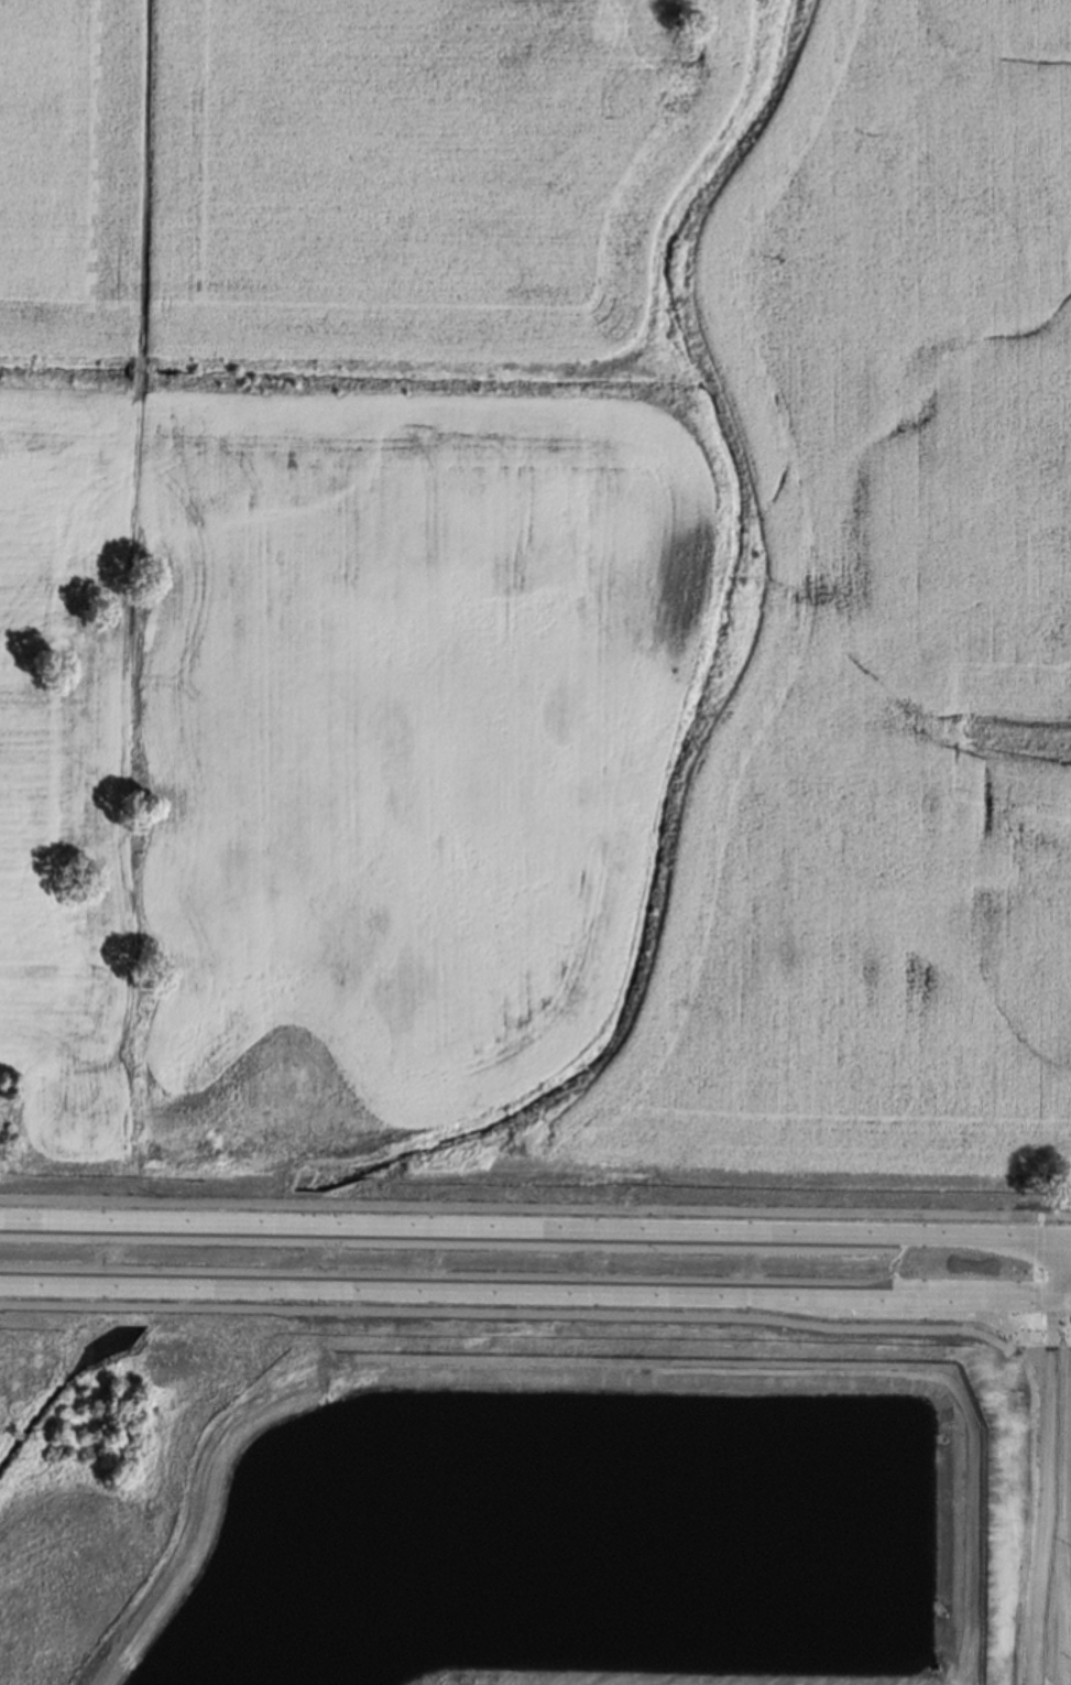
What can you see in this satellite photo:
crop: (537, 607)
road: (125, 617)
road: (535, 1206)
road: (127, 1227)
road: (657, 1232)
road: (1067, 1236)
road: (1065, 1257)
road: (1037, 1268)
road: (1070, 1278)
road: (1061, 1287)
road: (1070, 1289)
road: (526, 1291)
road: (1062, 1298)
road: (1070, 1298)
road: (1070, 1309)
road: (921, 1311)
road: (512, 1313)
road: (1052, 1322)
road: (1025, 1333)
road: (1050, 1338)
road: (1040, 1532)

